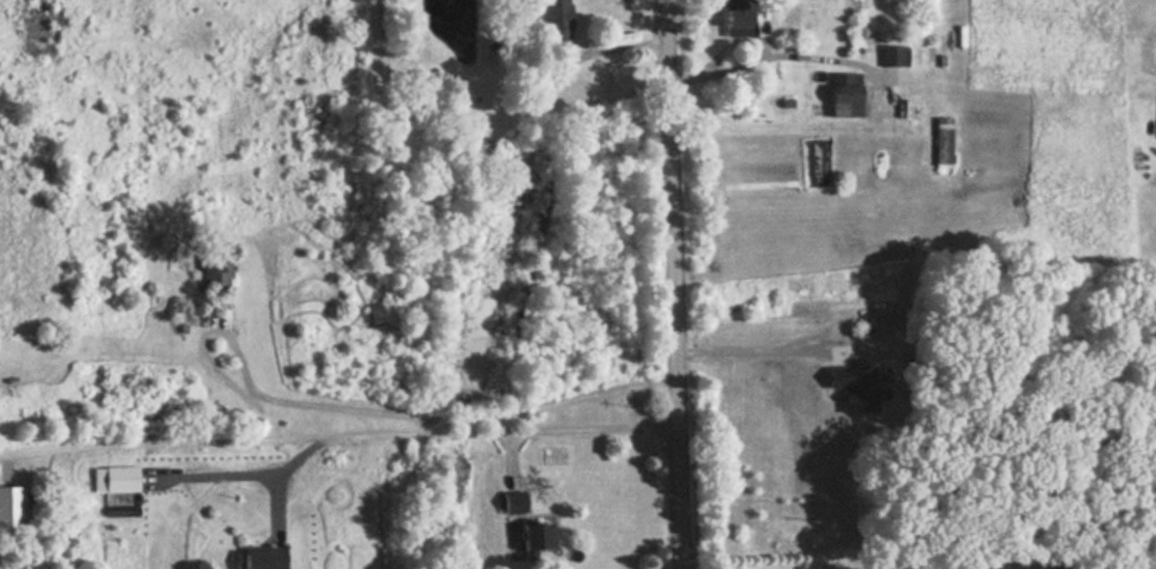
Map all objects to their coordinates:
building: (733, 13)
building: (556, 20)
road: (750, 61)
building: (843, 94)
building: (942, 139)
building: (212, 273)
road: (668, 284)
road: (749, 351)
road: (443, 411)
road: (361, 431)
road: (25, 451)
road: (292, 463)
building: (113, 477)
building: (512, 500)
building: (536, 533)
building: (261, 556)
road: (858, 565)

